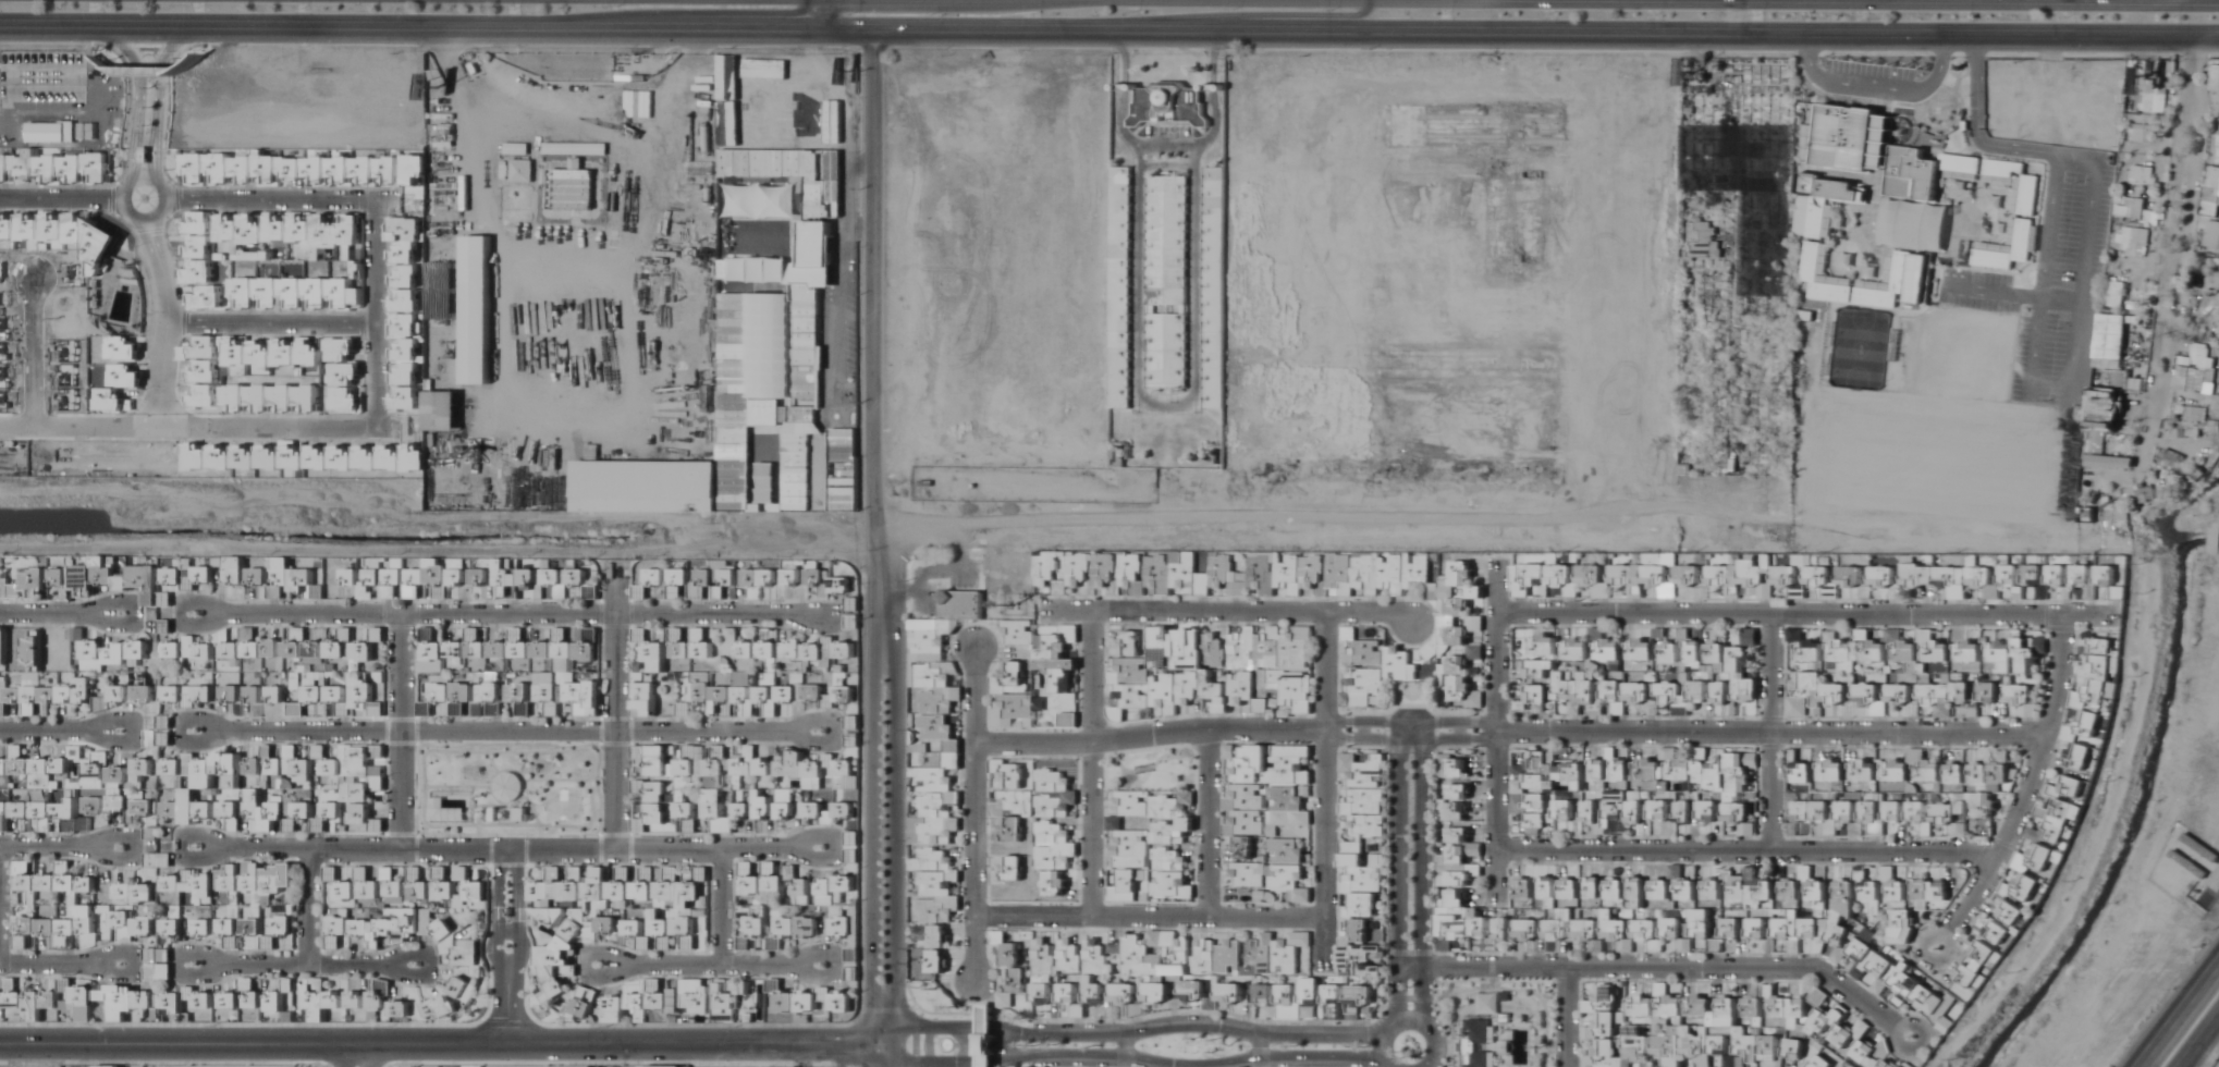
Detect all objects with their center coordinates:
park: (510, 788)

